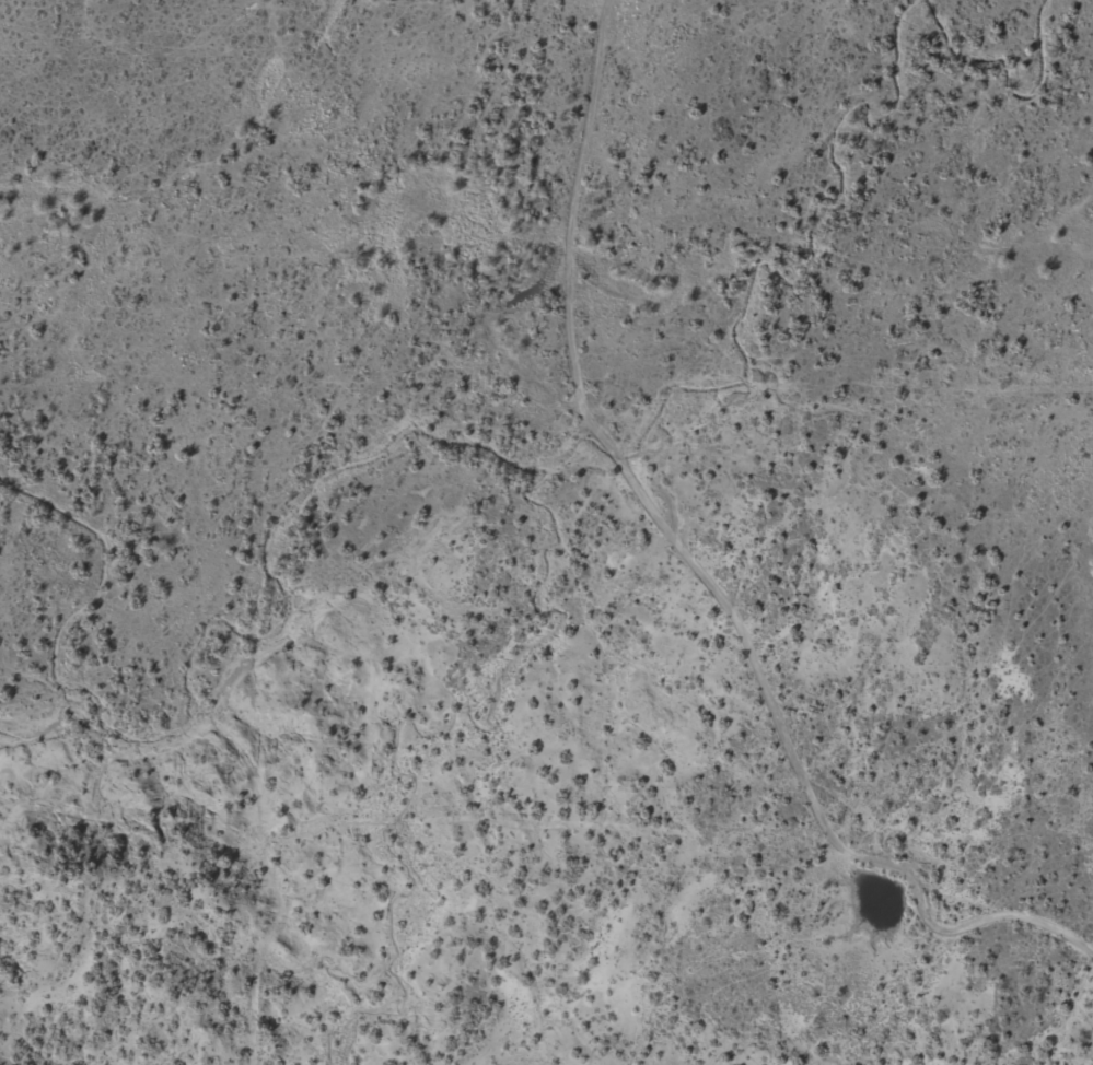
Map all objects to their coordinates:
road: (671, 560)

